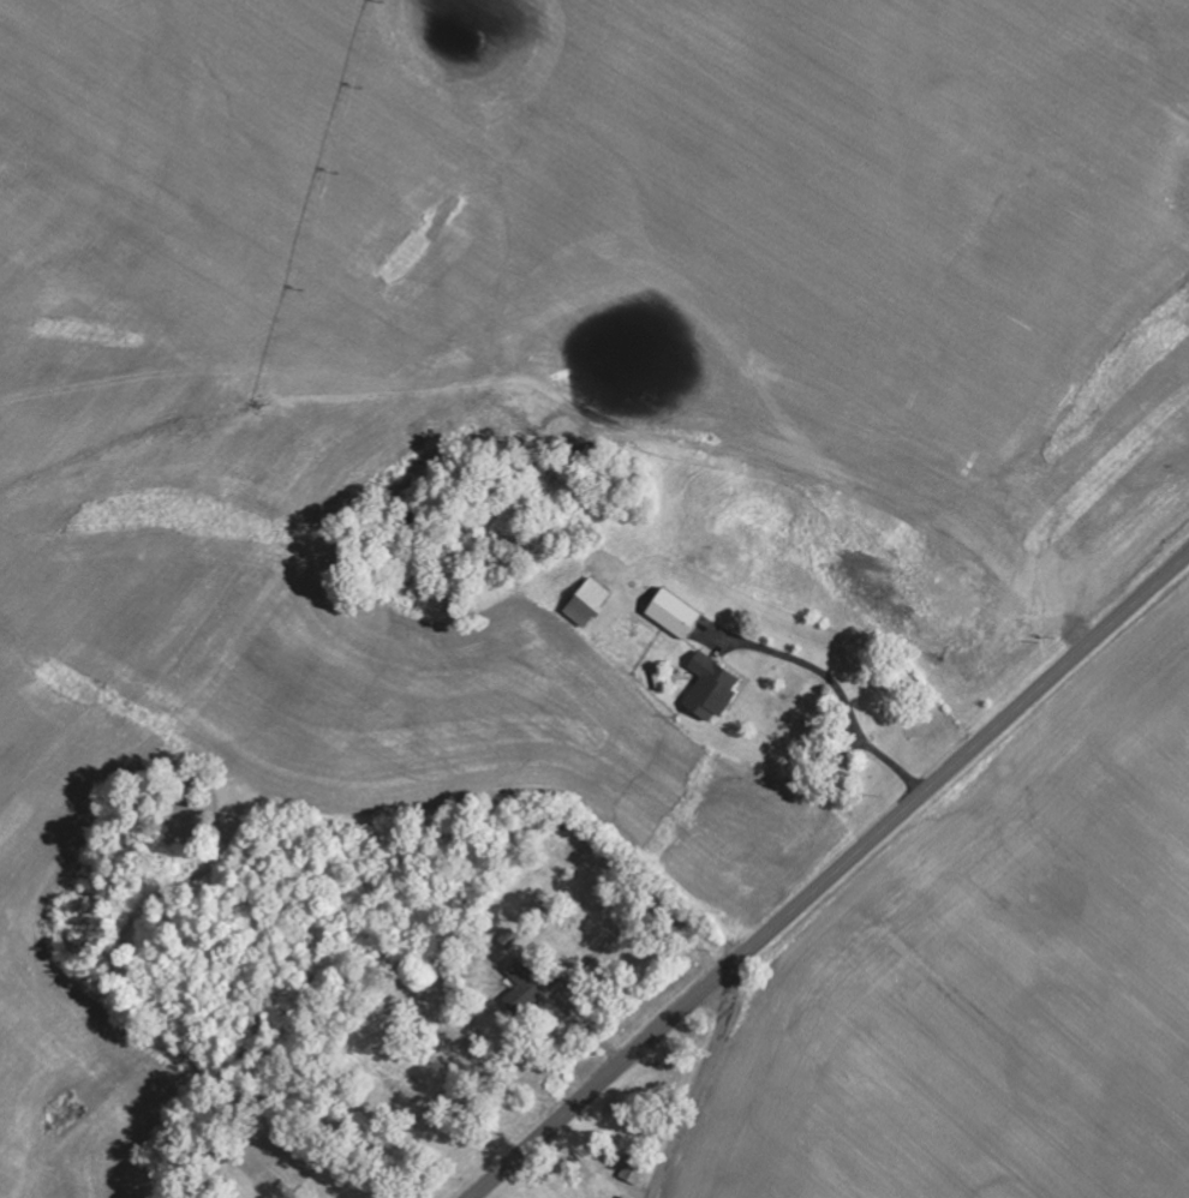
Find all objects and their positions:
building: (591, 605)
building: (676, 616)
building: (713, 690)
park: (192, 807)
road: (830, 877)
building: (531, 982)
road: (698, 1088)
building: (633, 1175)

